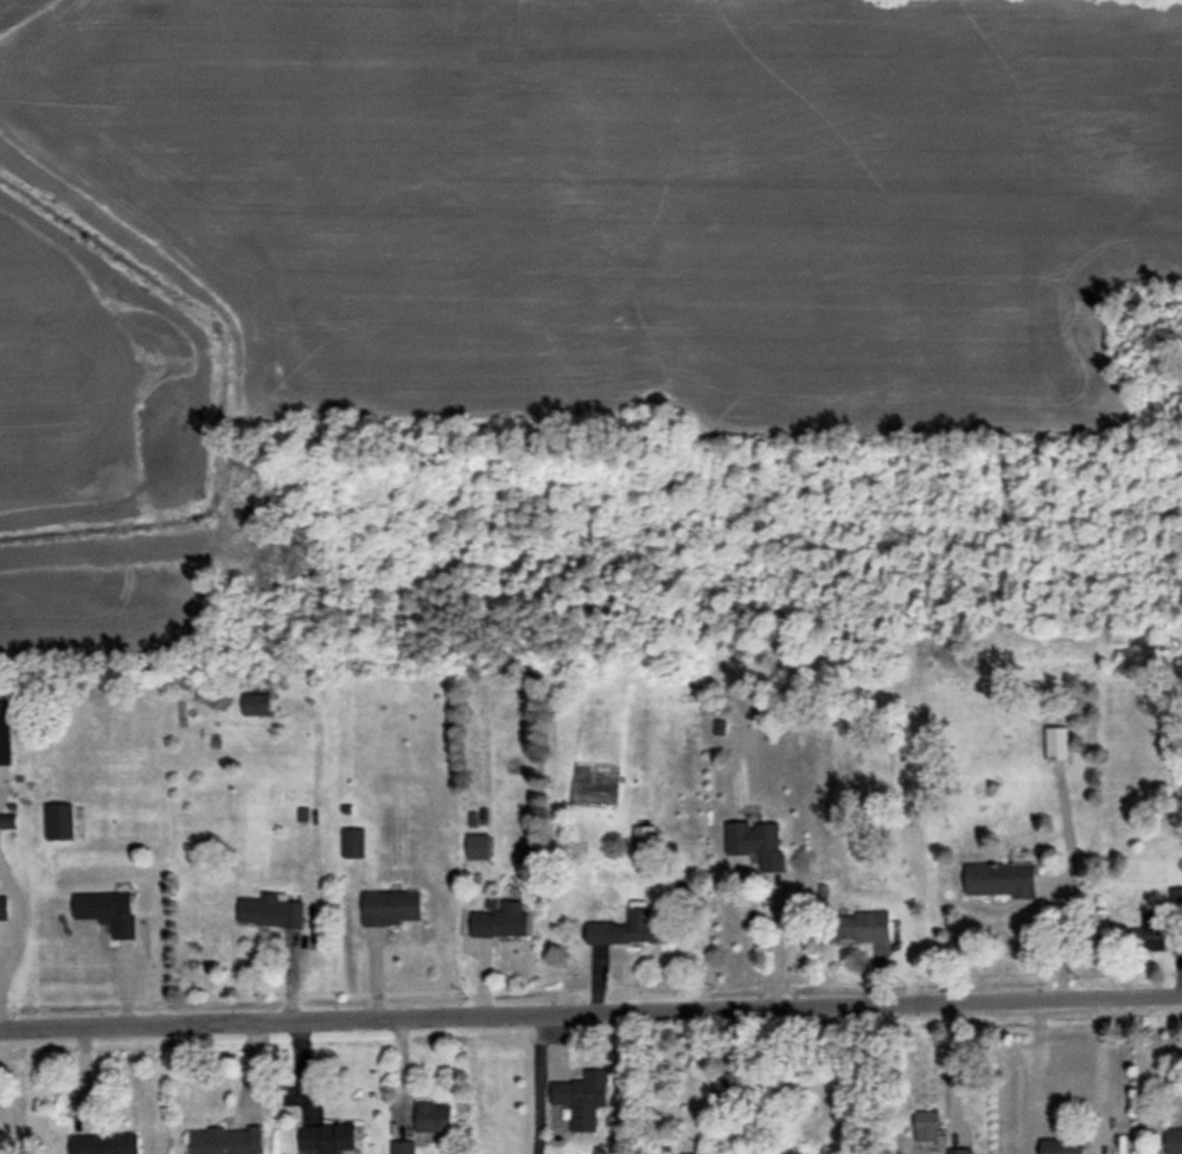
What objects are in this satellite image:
building: (255, 704)
building: (5, 736)
building: (1056, 743)
building: (58, 820)
building: (644, 839)
building: (352, 842)
building: (756, 842)
building: (477, 845)
building: (1002, 879)
building: (1175, 898)
building: (390, 906)
building: (4, 908)
building: (108, 910)
building: (269, 910)
building: (499, 918)
building: (861, 924)
building: (626, 929)
road: (1071, 931)
building: (1149, 931)
road: (779, 932)
road: (590, 1009)
road: (1103, 1071)
road: (541, 1083)
building: (726, 1084)
building: (581, 1097)
building: (433, 1116)
building: (926, 1124)
building: (327, 1136)
building: (1173, 1140)
building: (226, 1141)
building: (104, 1143)
building: (1062, 1146)
building: (402, 1147)
building: (959, 1150)
building: (695, 1153)

